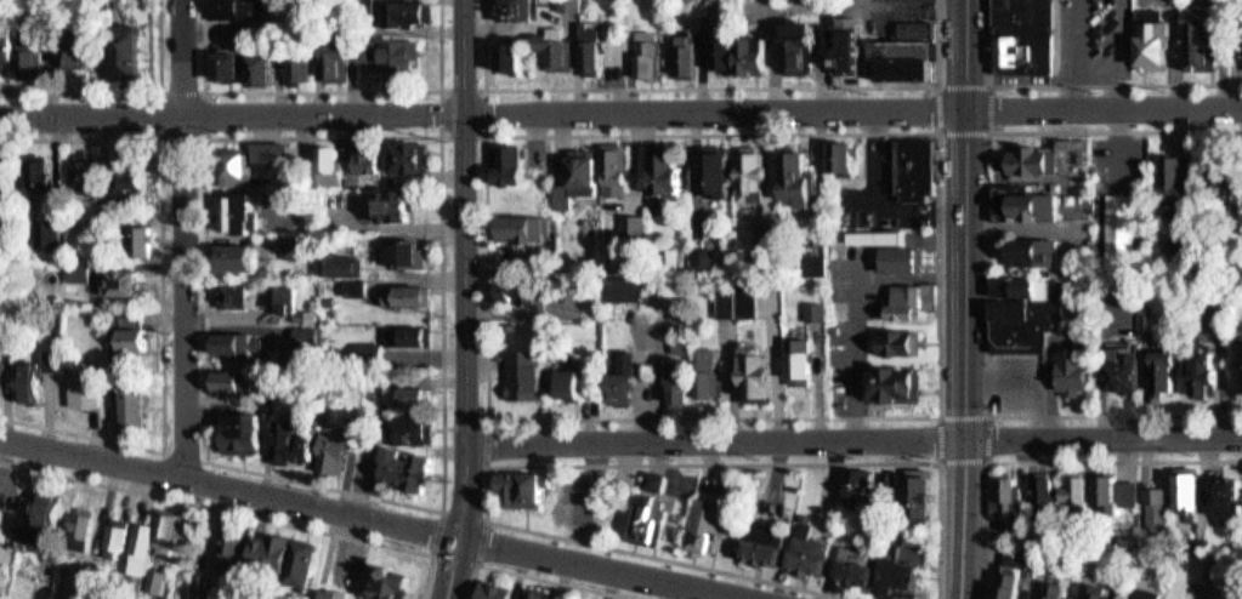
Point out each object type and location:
building: (574, 5)
building: (238, 7)
building: (516, 10)
building: (1025, 10)
building: (414, 13)
building: (919, 27)
building: (1203, 36)
building: (1156, 38)
building: (8, 45)
building: (849, 45)
building: (80, 46)
building: (727, 46)
building: (803, 46)
building: (597, 47)
building: (1025, 47)
building: (562, 49)
building: (369, 50)
building: (129, 51)
building: (32, 53)
building: (688, 53)
building: (759, 55)
building: (404, 56)
building: (516, 57)
building: (908, 57)
building: (652, 58)
building: (340, 61)
building: (231, 63)
building: (300, 65)
building: (266, 68)
road: (1073, 82)
road: (986, 84)
road: (710, 86)
road: (204, 90)
road: (322, 90)
road: (124, 91)
road: (620, 110)
road: (487, 133)
building: (272, 150)
building: (845, 155)
building: (370, 156)
building: (409, 156)
building: (331, 159)
building: (1036, 159)
building: (512, 164)
building: (237, 167)
building: (915, 167)
building: (620, 170)
building: (4, 171)
building: (1122, 172)
building: (673, 173)
building: (719, 173)
building: (91, 175)
building: (756, 175)
building: (1175, 175)
building: (804, 177)
building: (53, 178)
building: (1225, 178)
building: (129, 179)
building: (582, 179)
parking lot: (1113, 201)
building: (1037, 205)
building: (396, 206)
building: (238, 212)
building: (637, 226)
building: (49, 230)
building: (529, 233)
building: (771, 236)
building: (879, 236)
road: (182, 239)
building: (141, 241)
building: (1034, 251)
building: (410, 252)
building: (233, 256)
building: (906, 259)
road: (988, 272)
building: (124, 283)
building: (635, 290)
building: (522, 292)
building: (237, 295)
building: (410, 296)
road: (161, 298)
building: (285, 298)
road: (466, 299)
building: (743, 299)
road: (964, 299)
building: (913, 302)
building: (1026, 321)
building: (306, 336)
building: (410, 336)
building: (138, 338)
building: (242, 342)
building: (903, 343)
building: (59, 361)
building: (804, 361)
building: (1159, 367)
building: (1238, 367)
building: (1076, 369)
building: (764, 371)
building: (713, 373)
building: (1127, 373)
building: (529, 375)
building: (6, 377)
building: (1201, 377)
building: (628, 378)
building: (237, 381)
building: (39, 382)
building: (578, 382)
building: (684, 383)
building: (900, 384)
building: (90, 390)
building: (419, 395)
building: (136, 410)
road: (937, 415)
road: (988, 416)
road: (489, 417)
building: (420, 429)
building: (246, 433)
road: (853, 438)
building: (300, 444)
building: (340, 455)
road: (1115, 460)
road: (206, 461)
road: (567, 463)
road: (232, 467)
building: (409, 469)
building: (864, 486)
road: (231, 487)
building: (528, 487)
building: (1102, 490)
building: (1078, 492)
building: (1129, 492)
building: (1010, 495)
building: (1191, 495)
building: (917, 497)
building: (1047, 498)
building: (1230, 498)
building: (648, 502)
building: (1157, 508)
road: (238, 513)
building: (46, 521)
building: (707, 525)
building: (80, 526)
road: (982, 529)
building: (115, 535)
building: (142, 538)
building: (773, 544)
building: (232, 549)
building: (299, 563)
road: (478, 564)
building: (1019, 565)
building: (860, 566)
road: (606, 569)
building: (911, 572)
road: (541, 578)
building: (392, 580)
building: (202, 586)
building: (487, 588)
building: (1057, 589)
building: (1105, 591)
building: (503, 592)
building: (529, 592)
building: (540, 593)
building: (1147, 594)
building: (1180, 598)

